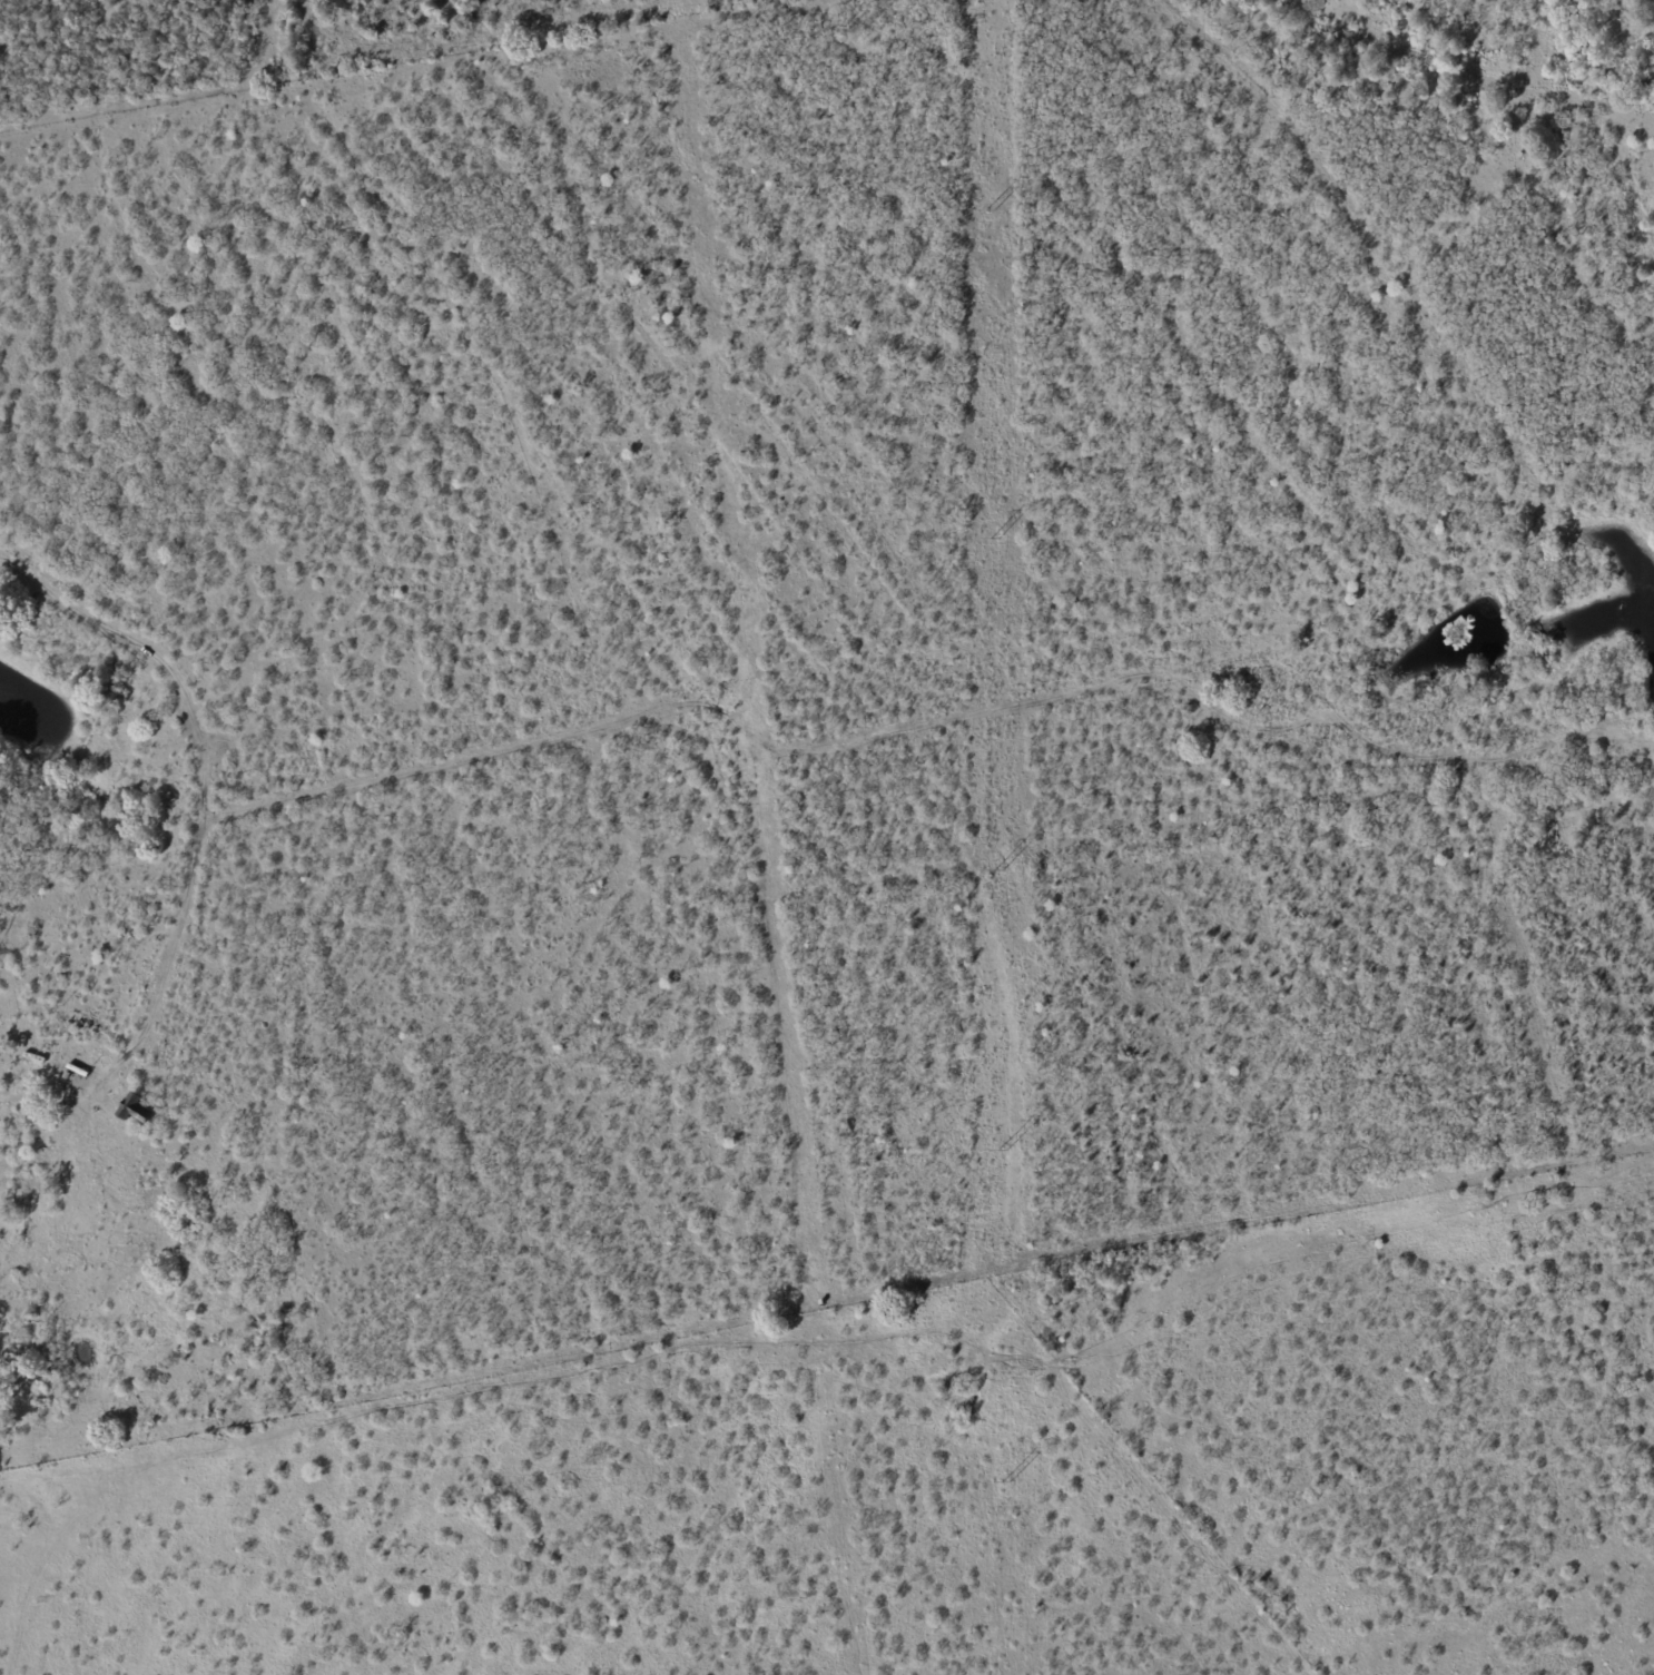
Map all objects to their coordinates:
power tower: (990, 210)
power tower: (994, 540)
power tower: (997, 871)
power tower: (1001, 1151)
power tower: (1006, 1482)

